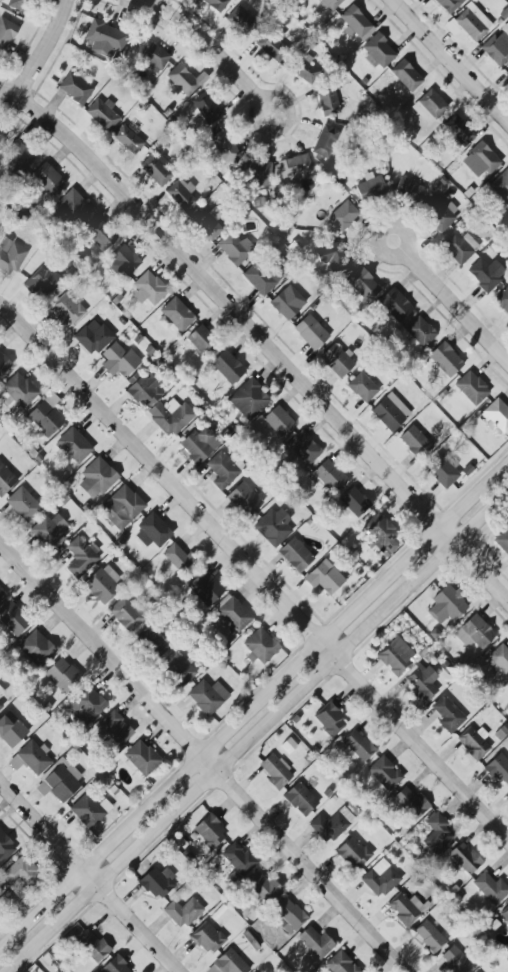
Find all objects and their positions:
building: (331, 3)
building: (18, 4)
building: (216, 4)
building: (242, 20)
building: (355, 21)
building: (472, 22)
building: (6, 34)
building: (105, 39)
road: (207, 44)
building: (272, 45)
building: (497, 46)
road: (43, 50)
building: (378, 51)
building: (152, 56)
road: (450, 61)
building: (306, 70)
building: (406, 75)
building: (185, 80)
building: (75, 86)
road: (272, 96)
building: (327, 99)
building: (429, 107)
building: (206, 108)
building: (102, 114)
building: (458, 130)
building: (2, 134)
building: (127, 139)
building: (222, 140)
building: (325, 141)
building: (17, 156)
building: (480, 160)
building: (294, 168)
building: (156, 169)
building: (257, 173)
building: (47, 179)
building: (501, 187)
building: (371, 188)
building: (407, 191)
building: (181, 194)
building: (72, 208)
building: (439, 215)
building: (343, 216)
road: (386, 226)
building: (99, 233)
building: (459, 246)
building: (233, 249)
building: (10, 256)
building: (332, 257)
building: (123, 262)
building: (486, 273)
building: (261, 277)
building: (41, 282)
building: (363, 285)
building: (149, 288)
building: (502, 300)
building: (287, 303)
building: (395, 305)
road: (456, 307)
building: (66, 310)
building: (177, 314)
building: (310, 332)
building: (420, 332)
building: (200, 338)
building: (93, 339)
road: (259, 339)
building: (445, 359)
building: (337, 360)
building: (119, 361)
building: (3, 364)
building: (226, 368)
building: (362, 387)
building: (472, 388)
building: (19, 390)
building: (143, 390)
building: (248, 399)
building: (47, 415)
building: (387, 415)
building: (170, 416)
building: (497, 416)
building: (278, 421)
building: (414, 442)
building: (73, 445)
building: (197, 445)
building: (303, 448)
building: (222, 470)
building: (442, 470)
building: (96, 478)
building: (6, 480)
building: (244, 500)
building: (354, 502)
building: (23, 504)
building: (121, 508)
building: (273, 527)
building: (49, 531)
building: (152, 532)
building: (382, 534)
building: (502, 540)
building: (295, 555)
building: (80, 557)
building: (177, 558)
road: (255, 572)
building: (324, 578)
building: (102, 584)
building: (205, 588)
building: (1, 596)
building: (446, 605)
building: (233, 613)
building: (125, 615)
building: (13, 619)
building: (474, 633)
building: (153, 641)
building: (260, 646)
building: (35, 647)
building: (396, 656)
building: (500, 658)
building: (178, 668)
building: (62, 675)
building: (420, 681)
building: (1, 692)
building: (207, 696)
road: (252, 702)
building: (1, 706)
building: (86, 706)
building: (447, 714)
building: (329, 720)
building: (115, 728)
building: (11, 730)
road: (259, 732)
building: (473, 742)
building: (357, 746)
road: (202, 757)
building: (31, 758)
building: (141, 758)
building: (498, 769)
building: (275, 771)
building: (384, 773)
building: (59, 781)
building: (300, 799)
building: (411, 804)
building: (90, 810)
building: (331, 825)
building: (209, 832)
building: (437, 834)
building: (353, 853)
building: (464, 858)
building: (239, 859)
building: (21, 874)
road: (89, 877)
building: (380, 878)
building: (156, 883)
building: (263, 888)
building: (490, 888)
building: (405, 908)
building: (182, 912)
building: (290, 913)
building: (504, 914)
building: (429, 936)
building: (207, 938)
building: (315, 942)
building: (89, 943)
building: (456, 961)
building: (230, 962)
building: (340, 963)
building: (115, 966)

